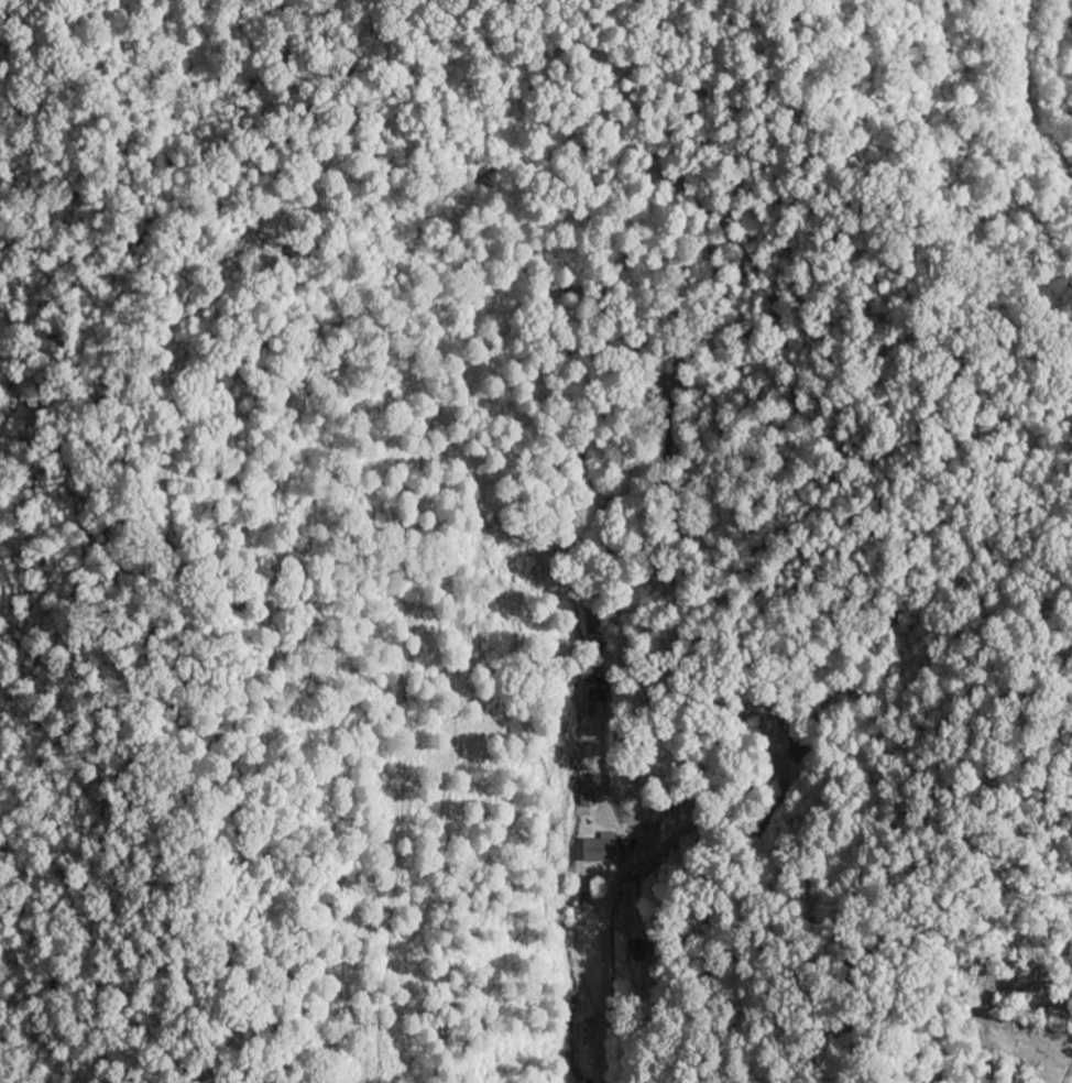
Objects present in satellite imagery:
building: (606, 850)
road: (603, 986)

